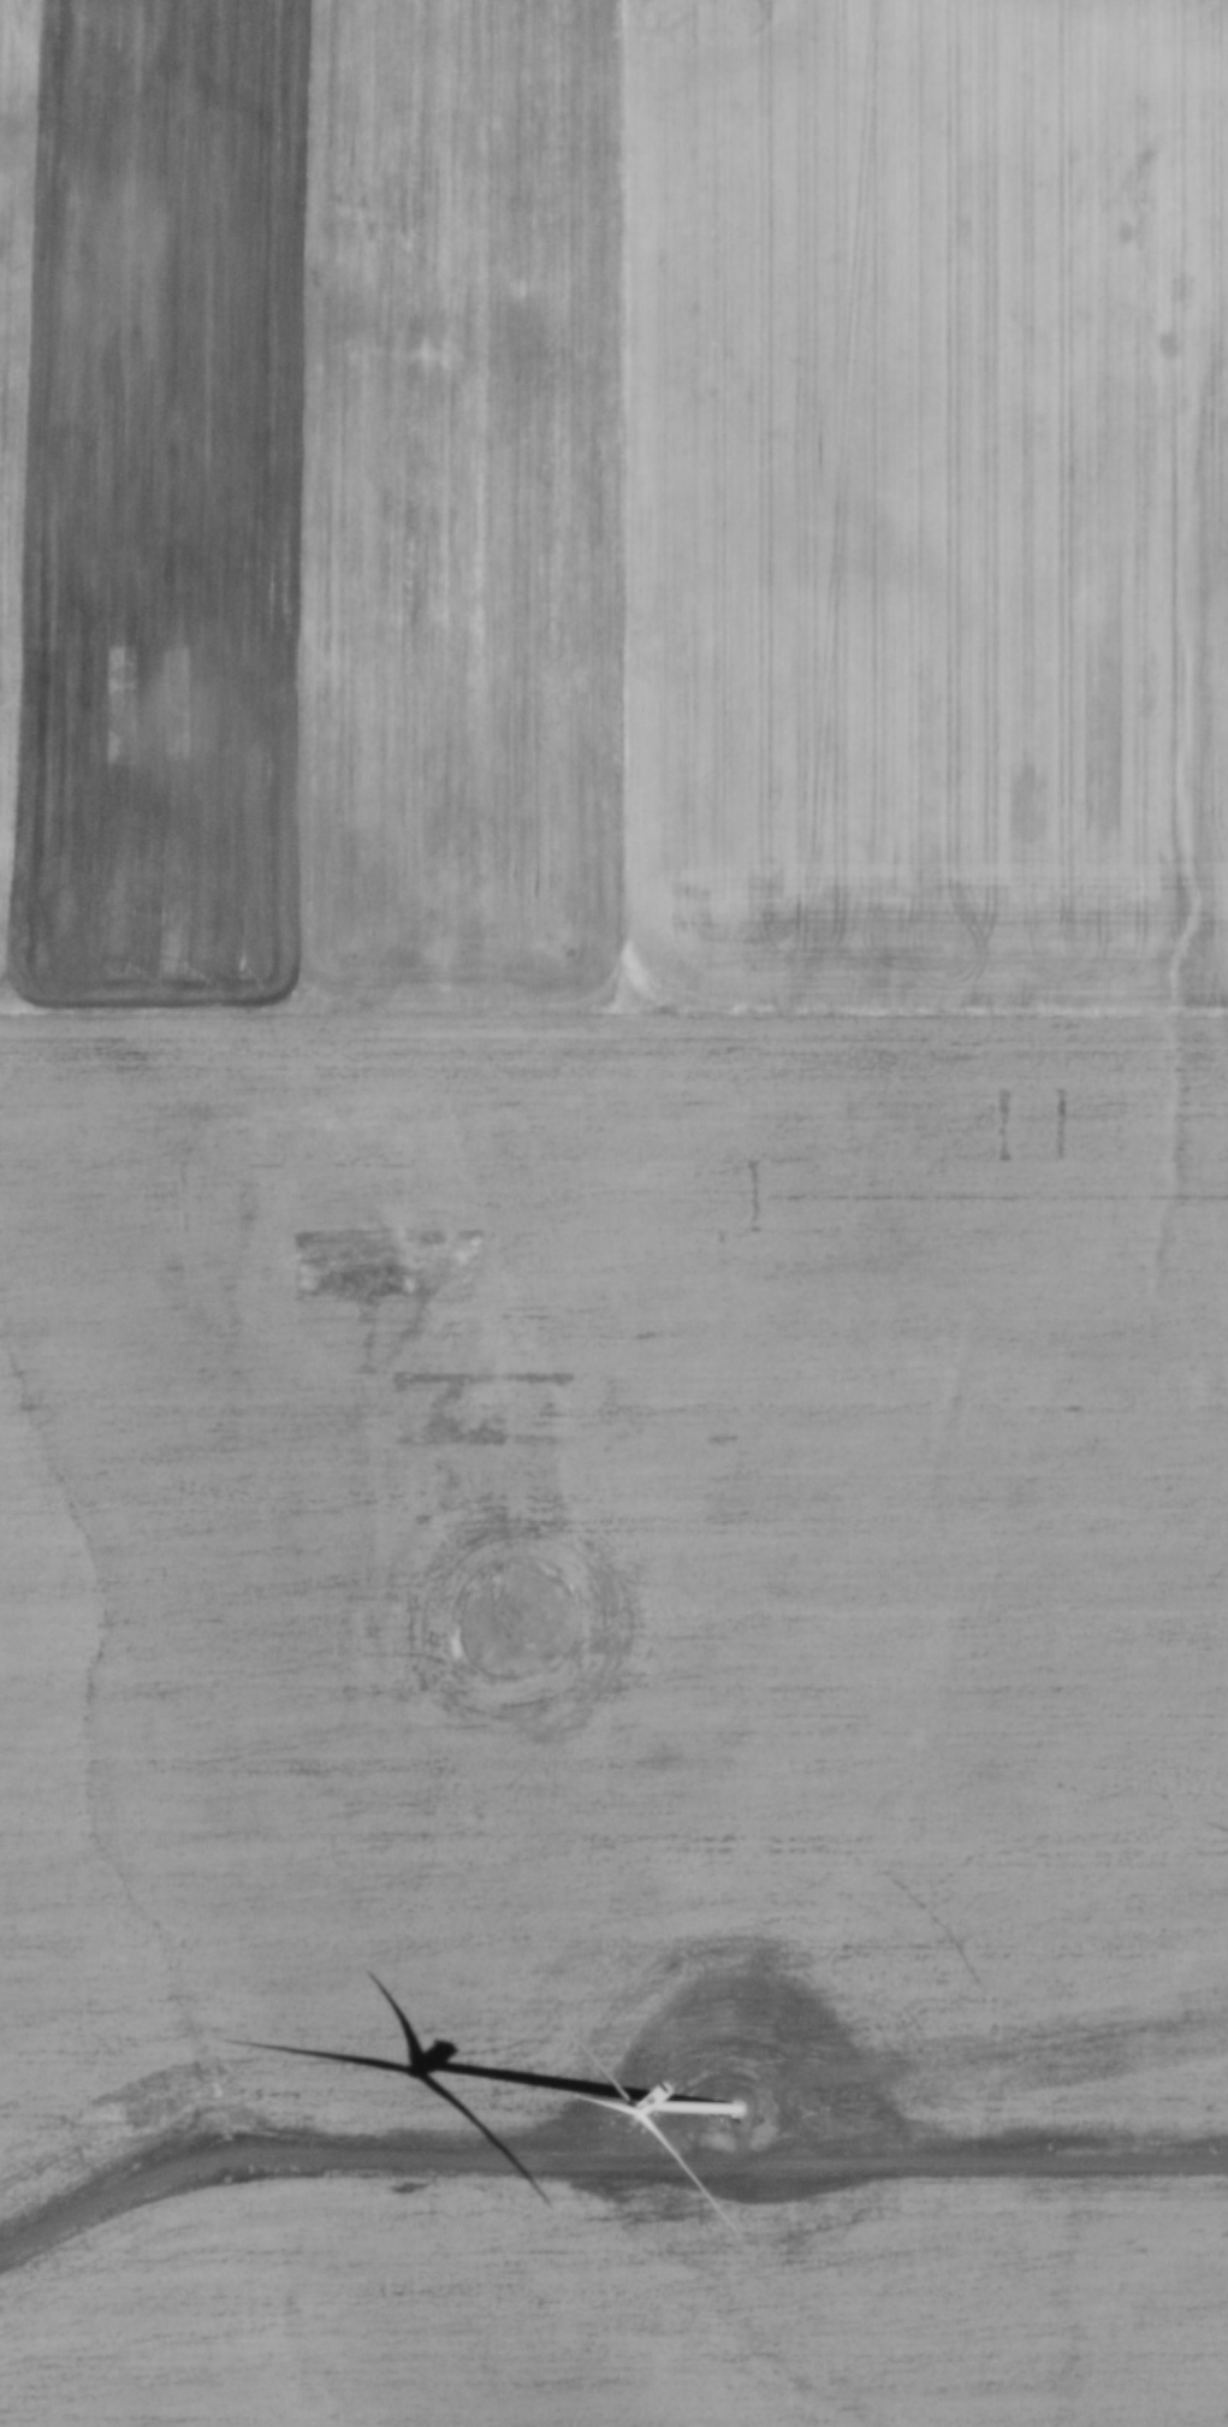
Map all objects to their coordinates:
wind turbine: (738, 2114)

